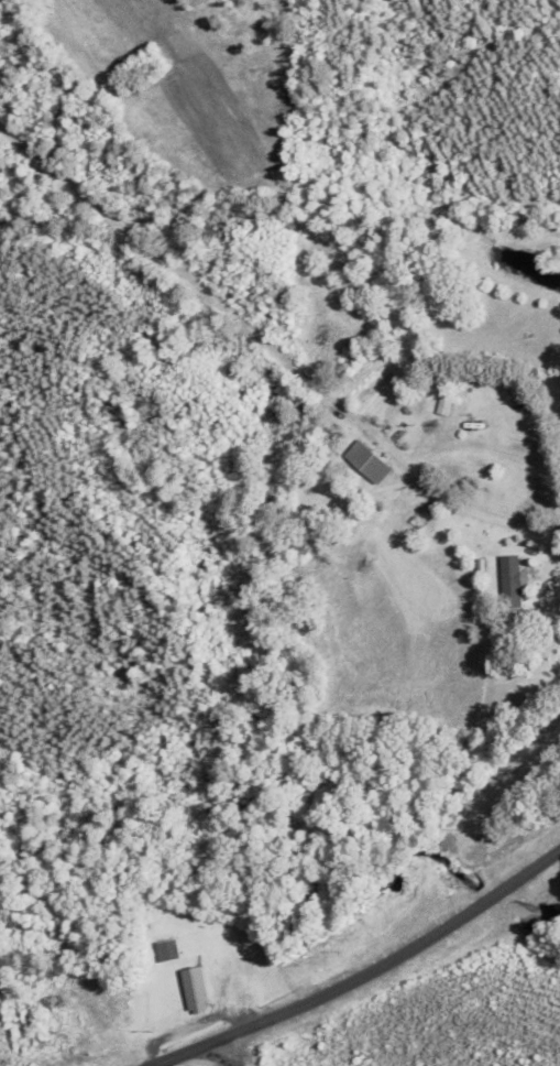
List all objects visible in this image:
building: (438, 405)
building: (364, 465)
building: (507, 584)
building: (166, 951)
road: (399, 958)
building: (191, 992)
building: (97, 1010)
road: (188, 1052)
road: (229, 1052)

